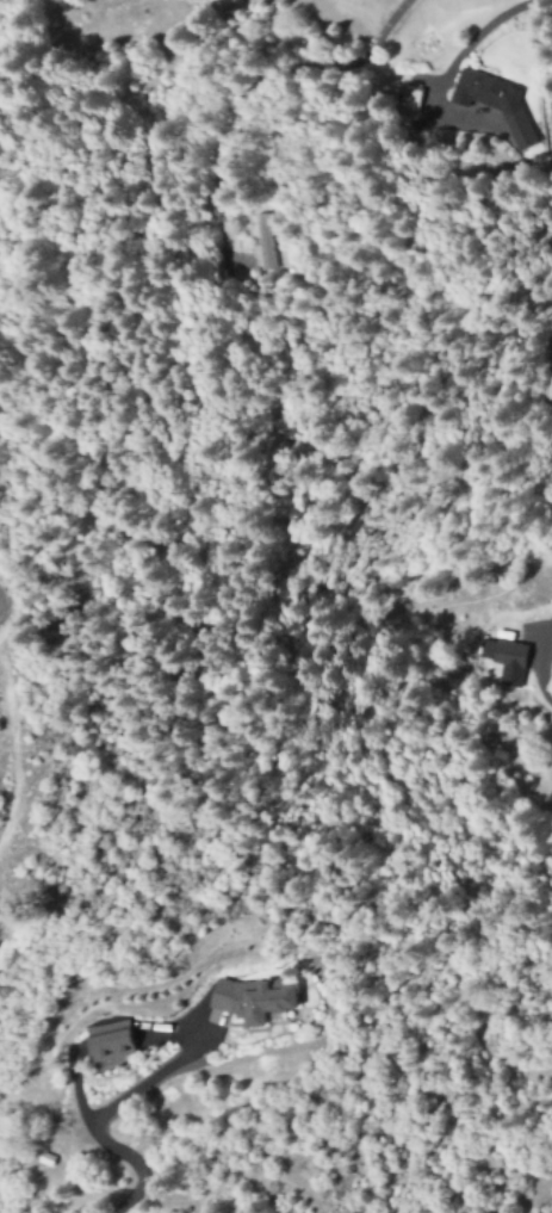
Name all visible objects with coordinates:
building: (410, 99)
building: (495, 104)
building: (263, 240)
building: (504, 661)
building: (252, 1002)
building: (110, 1042)

